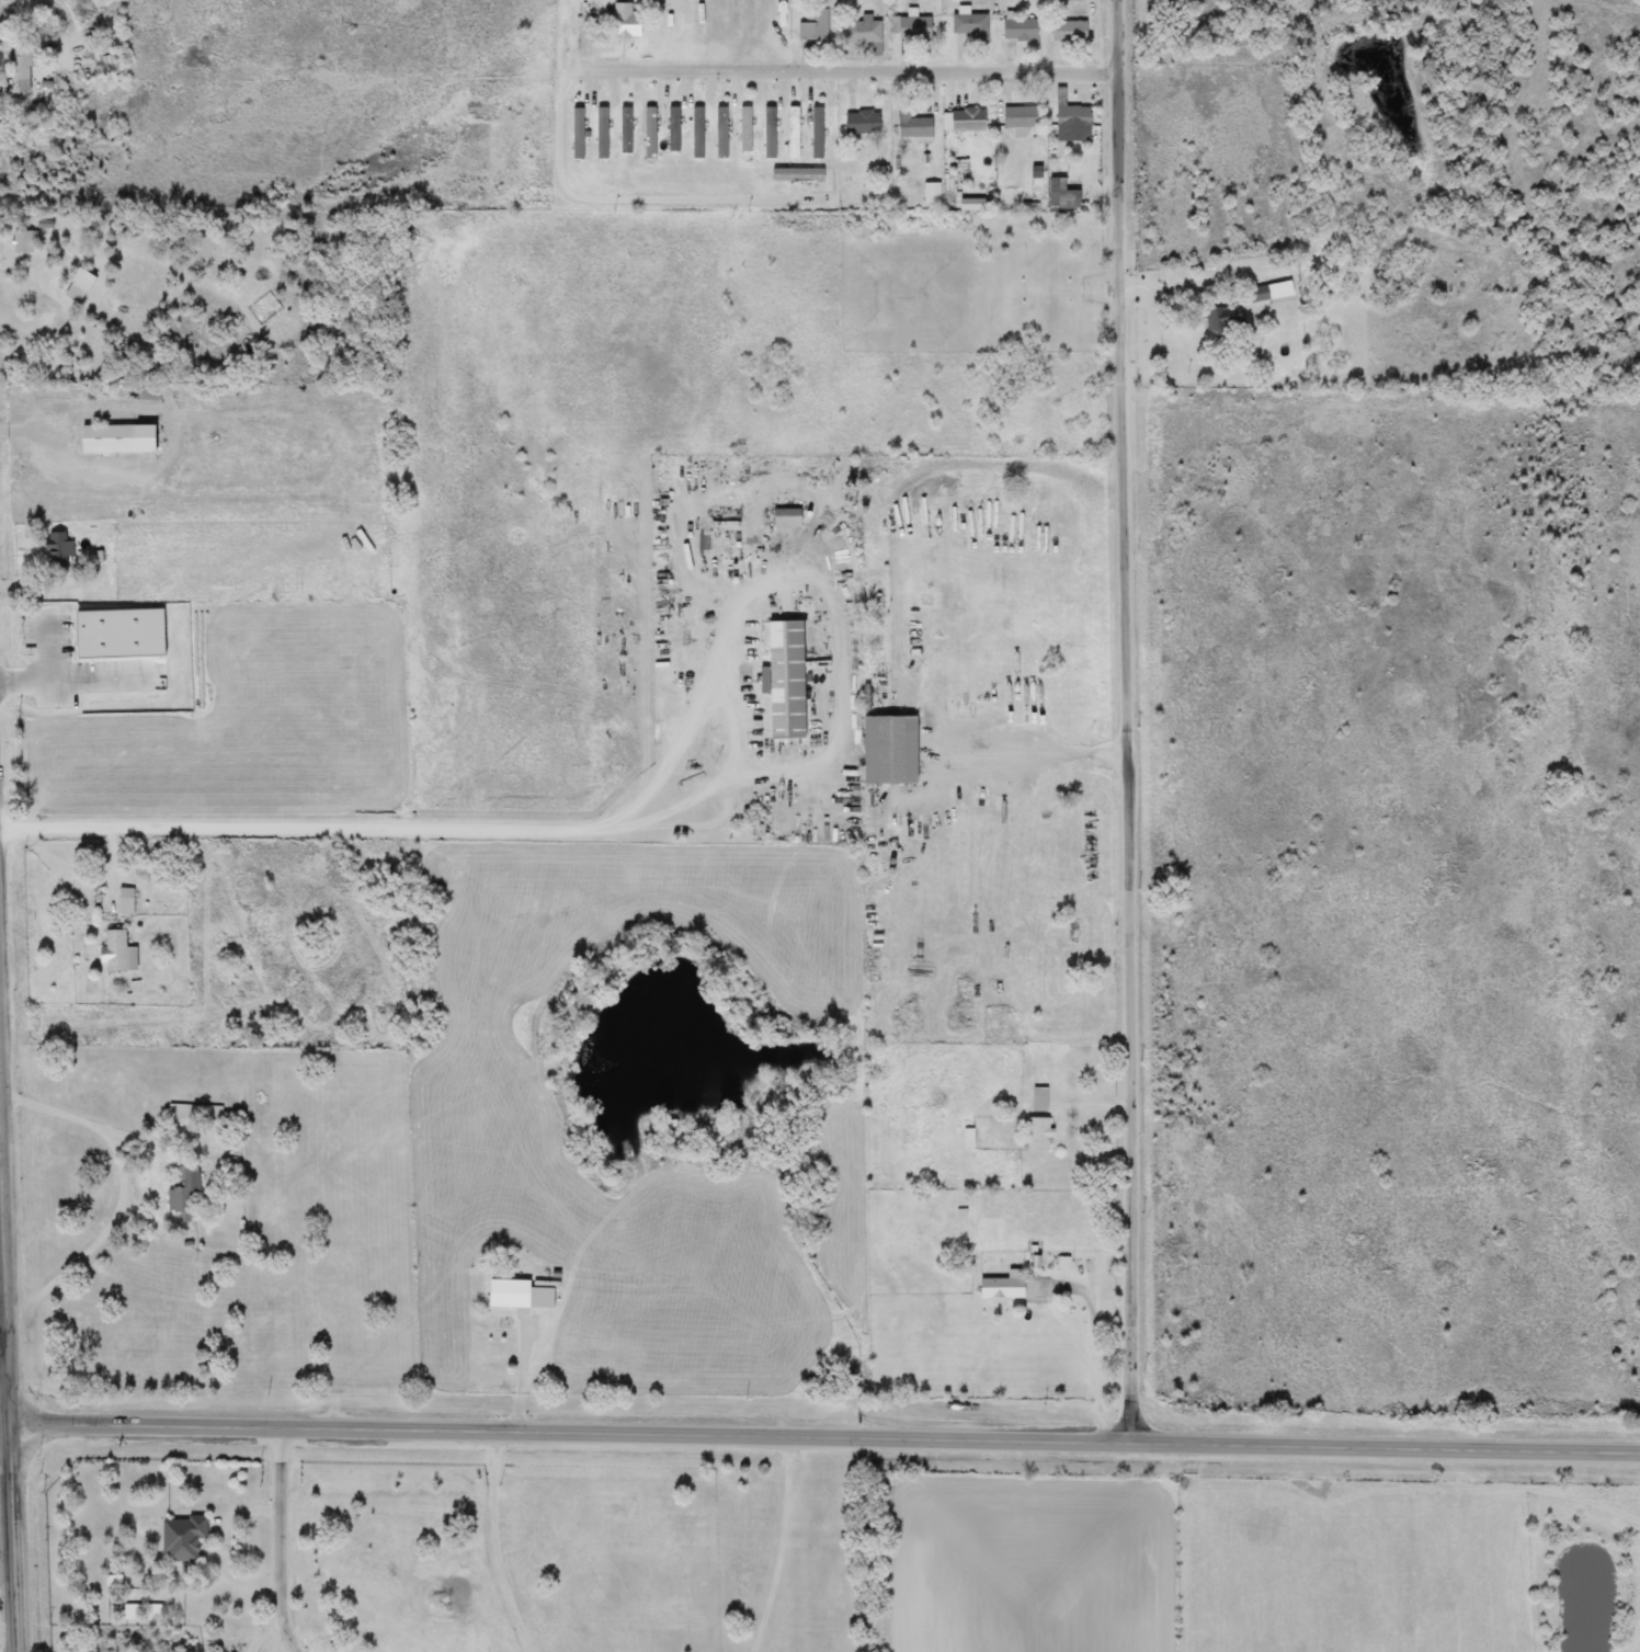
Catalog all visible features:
building: (625, 20)
building: (813, 25)
building: (969, 25)
building: (911, 27)
building: (1020, 30)
building: (1068, 31)
building: (859, 32)
road: (829, 65)
building: (20, 68)
building: (1069, 113)
building: (1017, 117)
building: (965, 121)
building: (861, 123)
building: (912, 126)
building: (1061, 200)
road: (612, 201)
building: (24, 240)
building: (1257, 294)
building: (1222, 317)
building: (145, 394)
building: (116, 440)
road: (71, 464)
road: (916, 471)
building: (784, 519)
building: (59, 551)
building: (119, 631)
road: (48, 641)
road: (75, 677)
building: (784, 680)
road: (1128, 716)
building: (886, 750)
road: (737, 756)
road: (1004, 760)
road: (294, 824)
road: (59, 862)
road: (111, 870)
building: (124, 901)
building: (116, 953)
building: (1039, 1100)
building: (200, 1114)
road: (95, 1127)
building: (1036, 1135)
building: (183, 1189)
road: (104, 1234)
building: (1002, 1287)
building: (516, 1294)
road: (9, 1307)
road: (1095, 1341)
road: (7, 1403)
road: (825, 1429)
building: (180, 1537)
road: (283, 1537)
road: (496, 1542)
road: (786, 1542)
road: (10, 1594)
road: (10, 1636)
road: (283, 1651)

